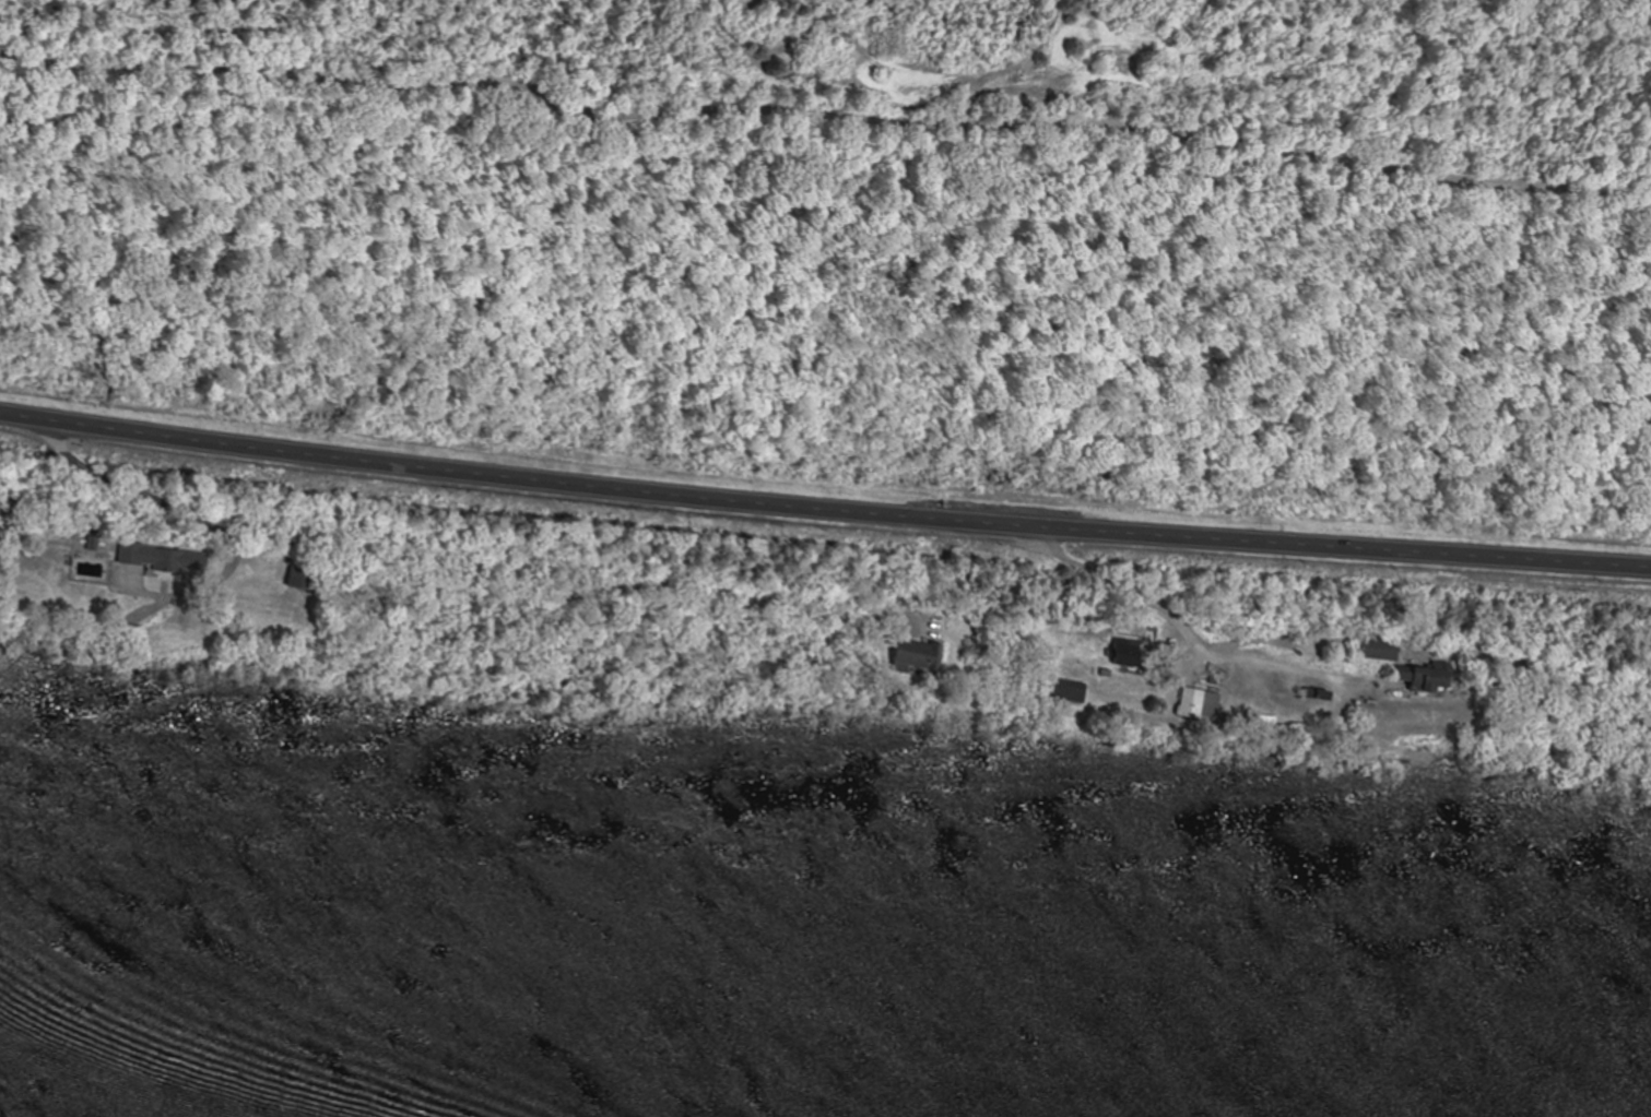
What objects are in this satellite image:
road: (827, 83)
building: (153, 504)
road: (823, 509)
building: (166, 557)
building: (300, 579)
building: (1389, 650)
building: (1133, 654)
building: (922, 655)
building: (1431, 678)
building: (1200, 705)

